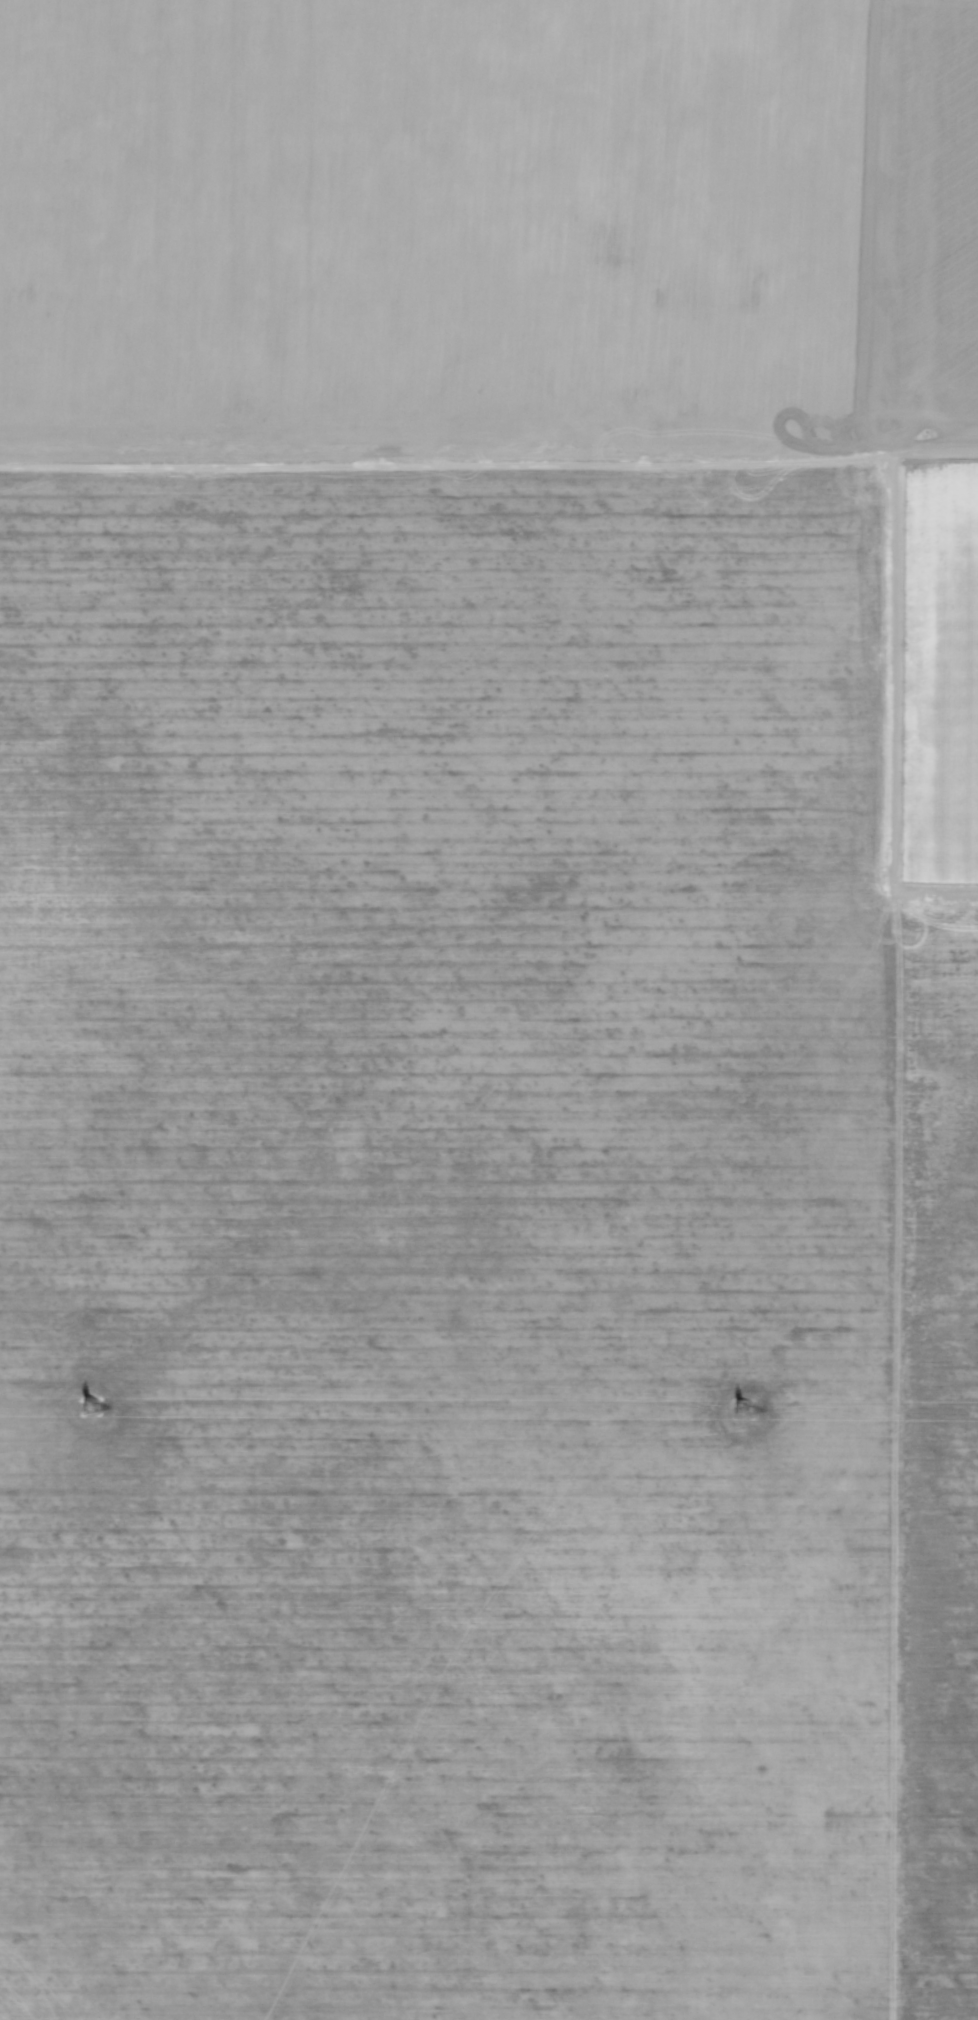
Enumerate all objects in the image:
road: (489, 453)
road: (920, 1009)
power tower: (88, 1408)
power tower: (741, 1410)

